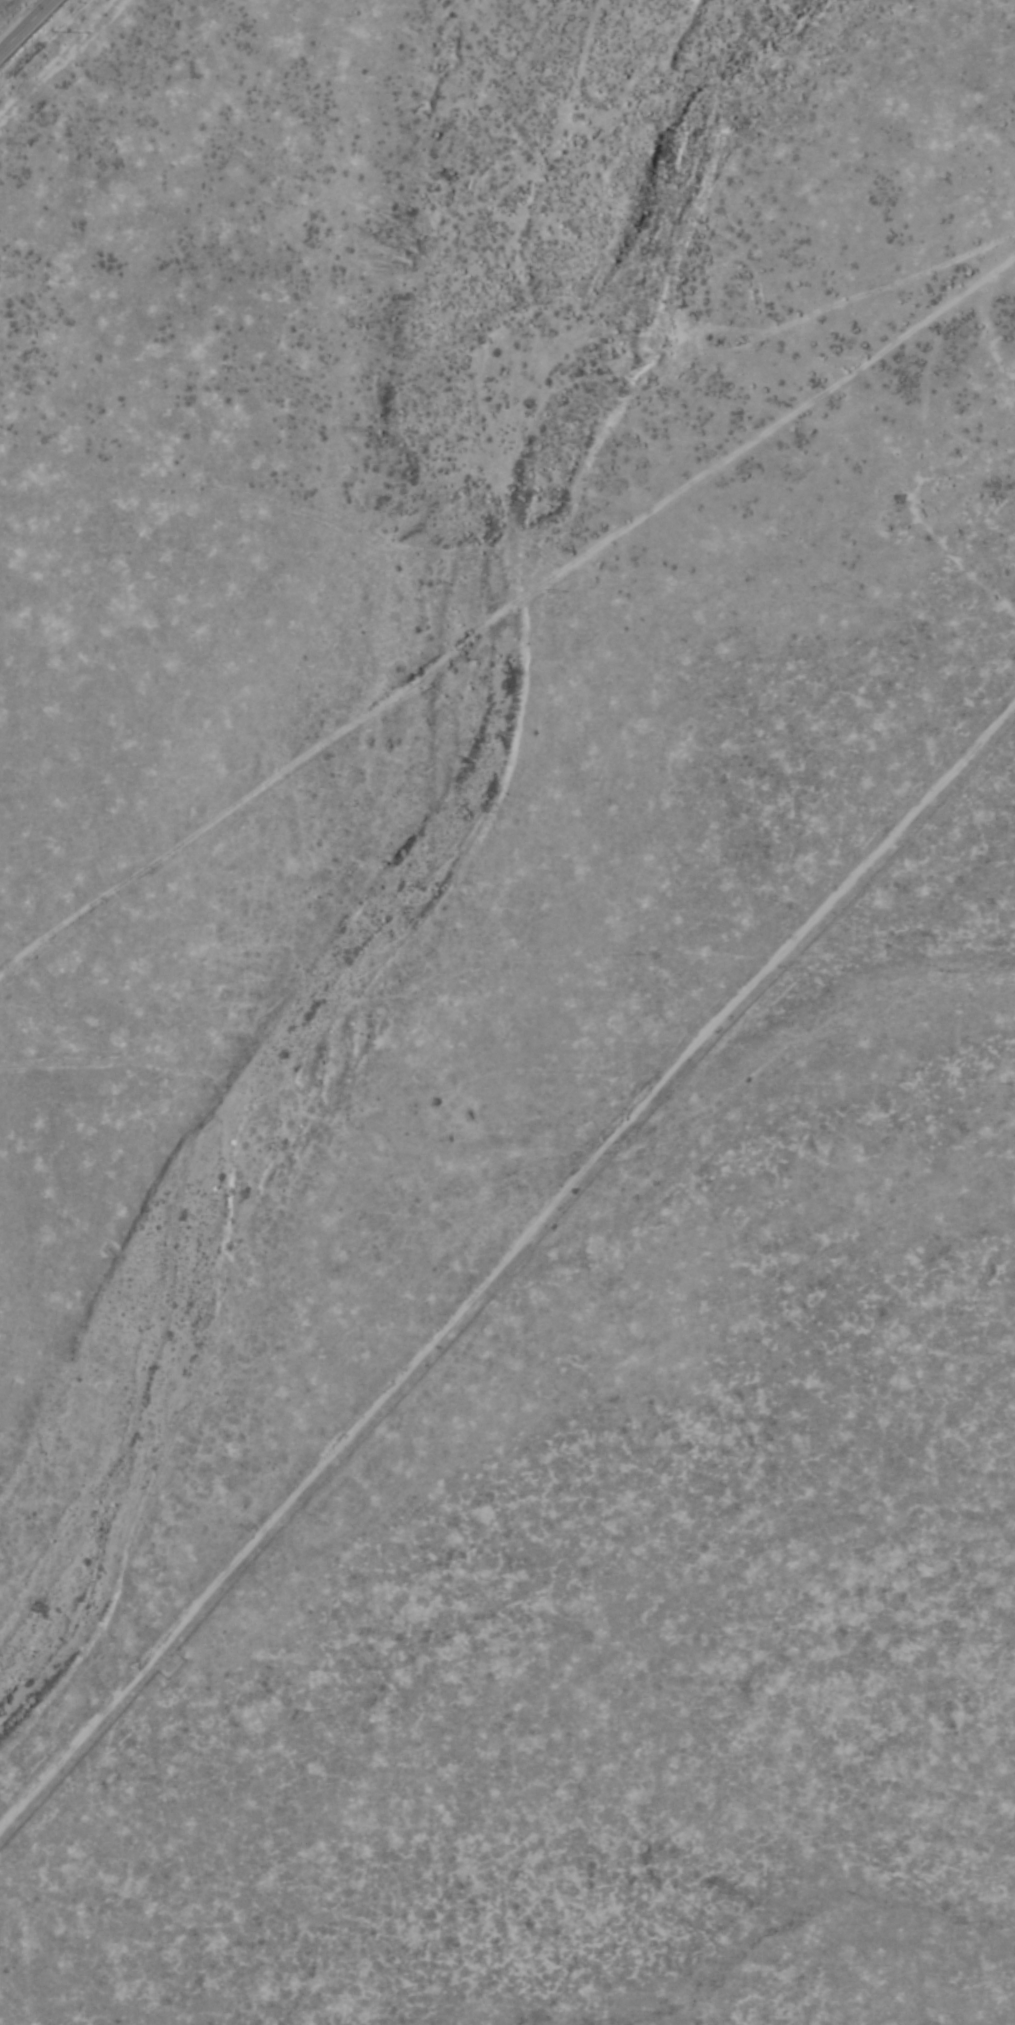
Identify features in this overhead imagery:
road: (27, 27)
road: (510, 632)
road: (507, 1292)

